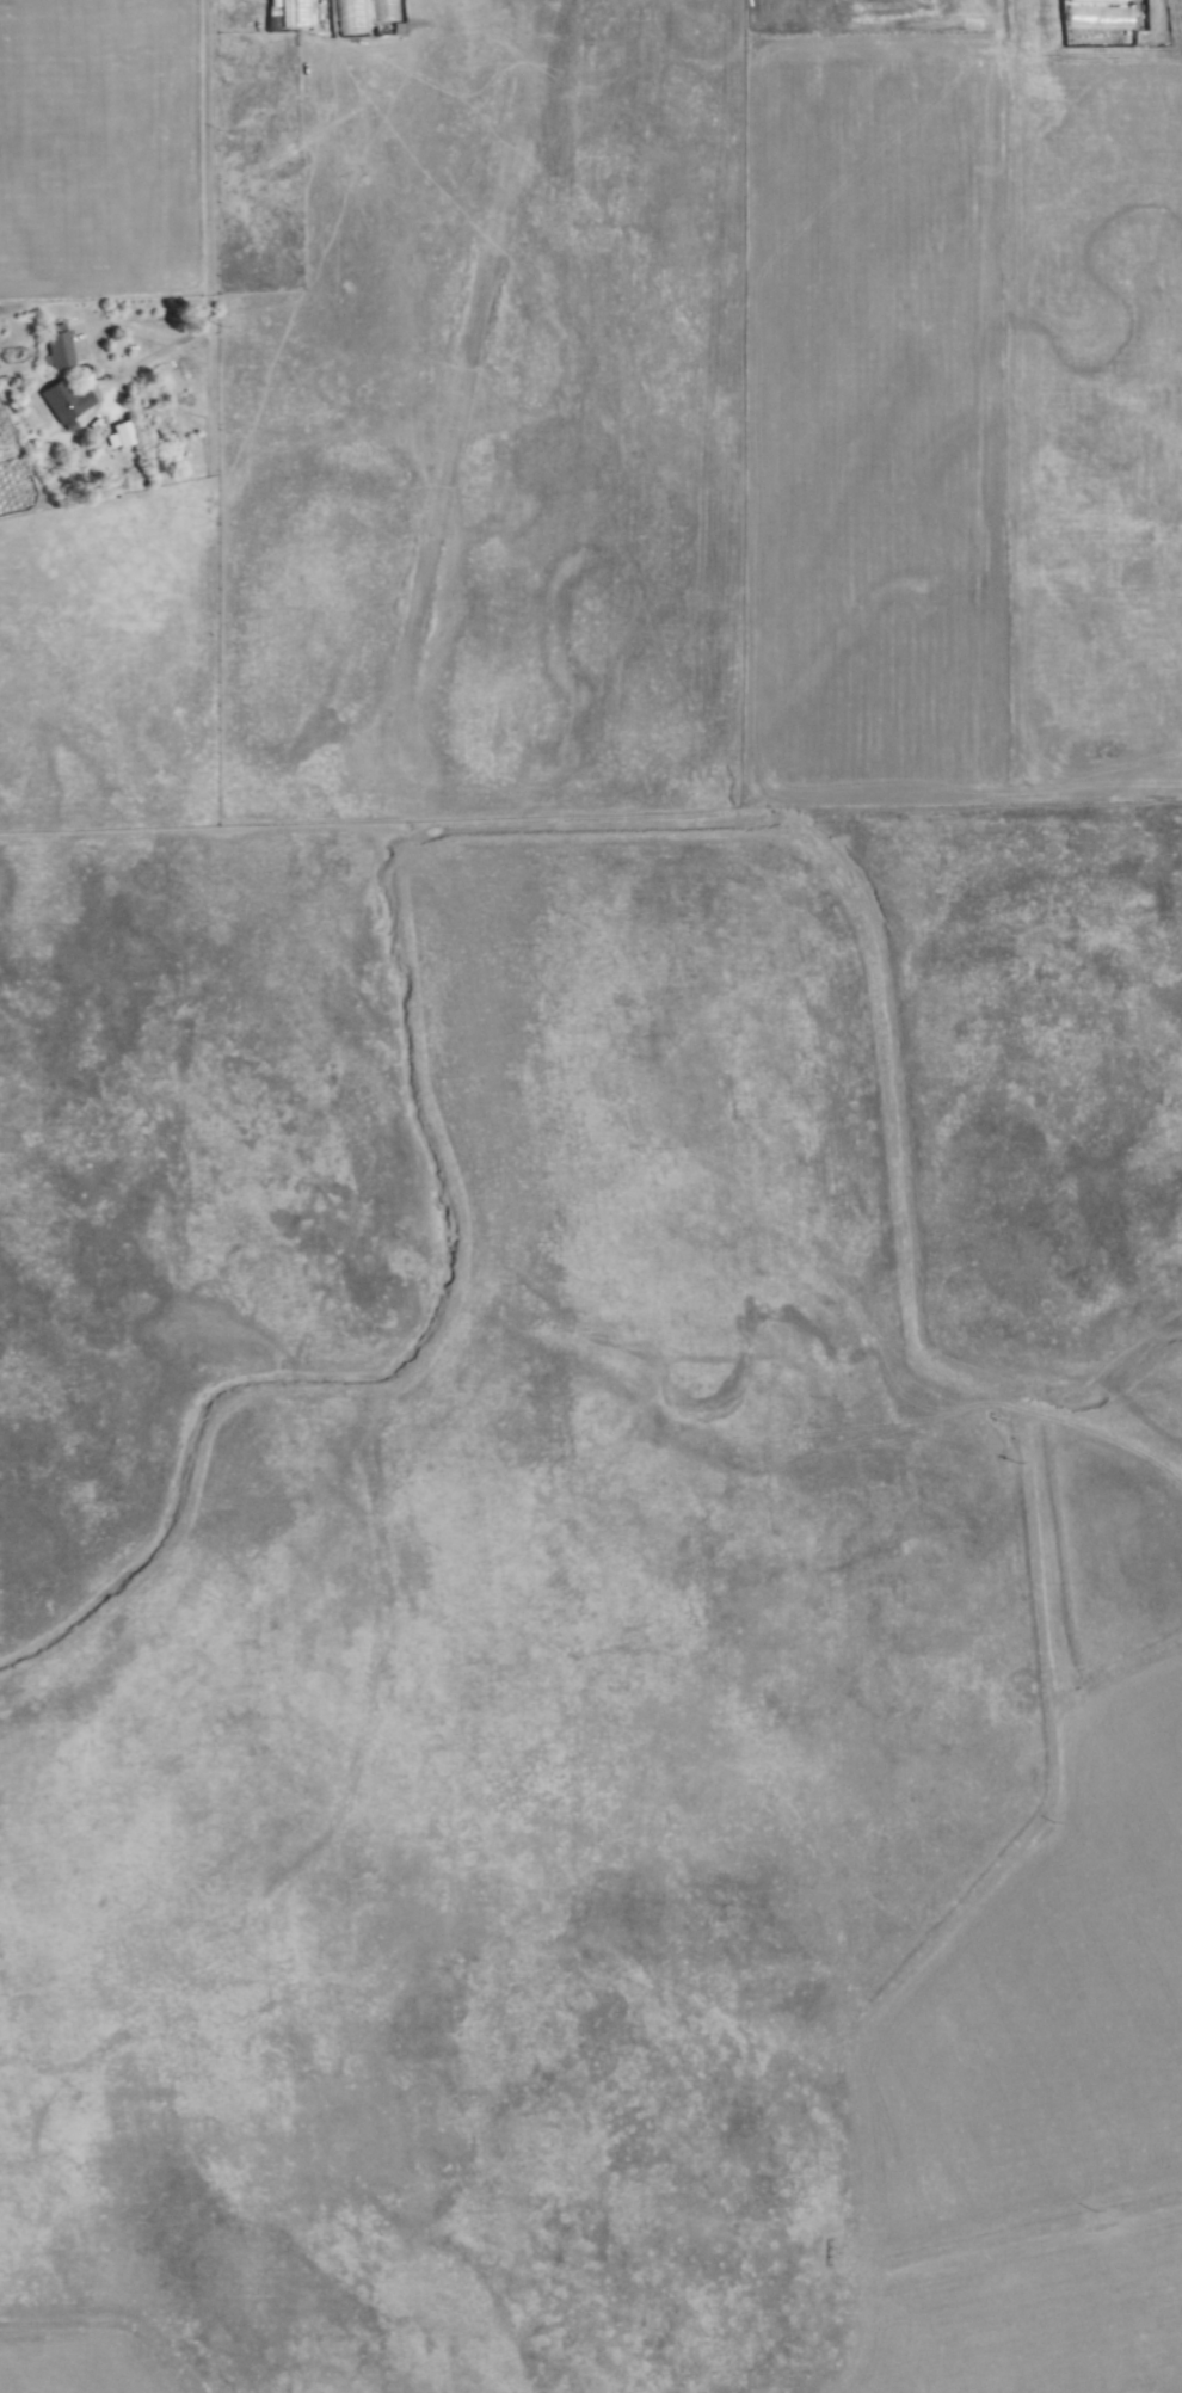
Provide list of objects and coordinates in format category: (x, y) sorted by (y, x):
road: (205, 184)
building: (67, 401)

